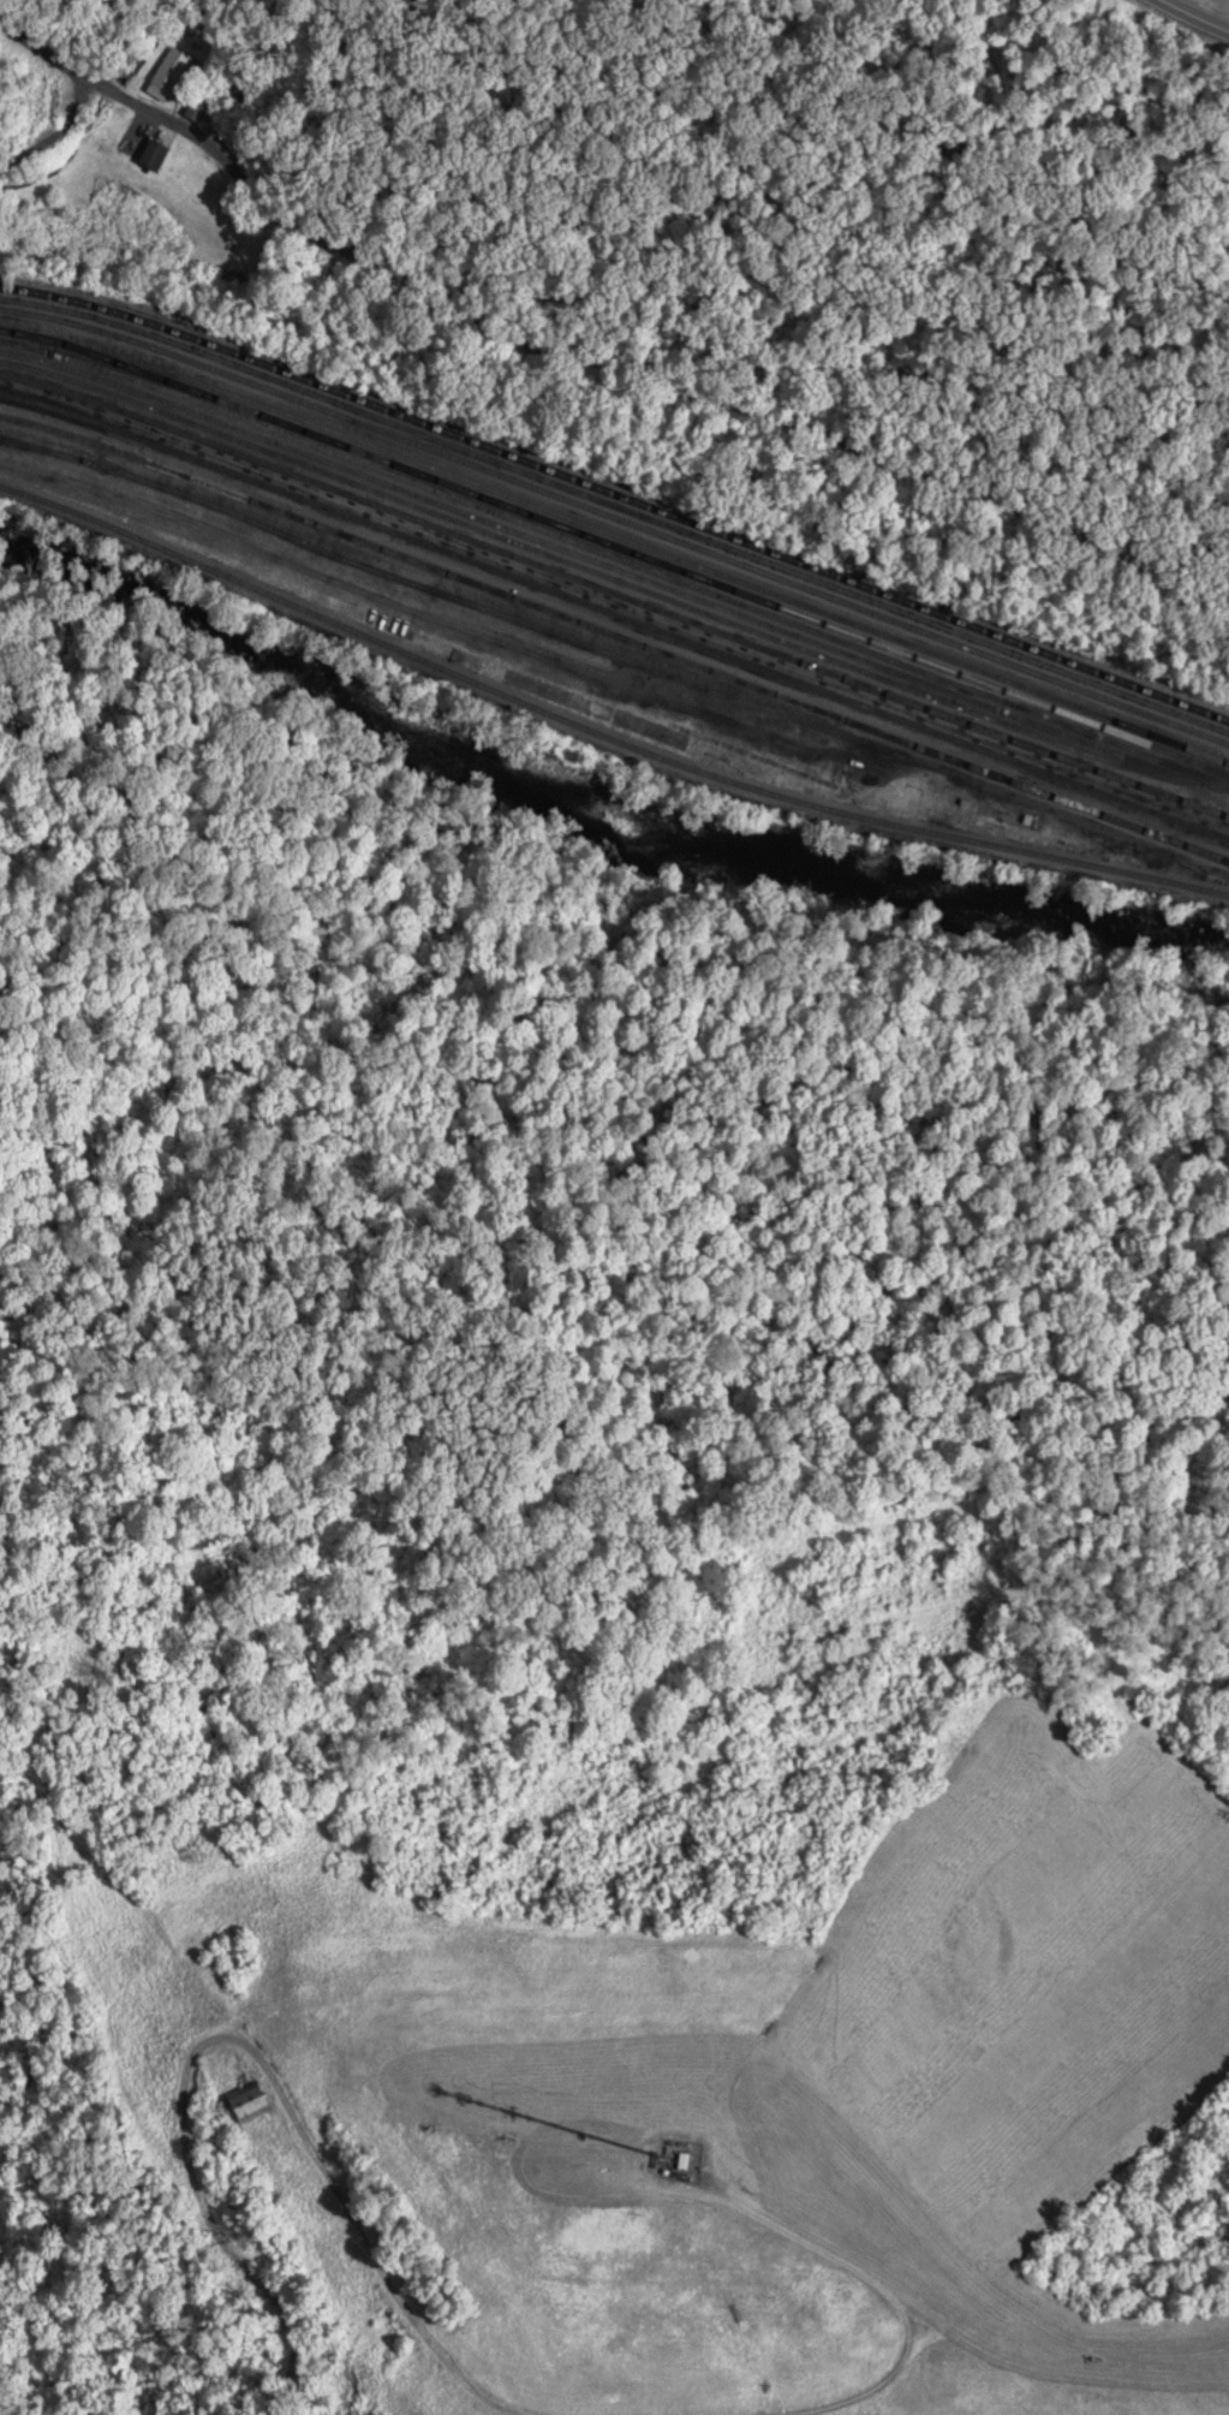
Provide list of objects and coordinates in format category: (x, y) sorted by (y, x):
road: (1203, 11)
building: (169, 71)
road: (109, 85)
building: (155, 151)
road: (429, 286)
railway: (7, 331)
road: (953, 483)
railway: (616, 492)
railway: (616, 507)
railway: (616, 517)
railway: (437, 528)
railway: (618, 533)
road: (1174, 545)
railway: (544, 552)
railway: (616, 557)
railway: (589, 558)
railway: (648, 560)
railway: (615, 613)
railway: (614, 636)
railway: (599, 734)
railway: (1051, 751)
railway: (1157, 771)
river: (601, 805)
building: (250, 2100)

